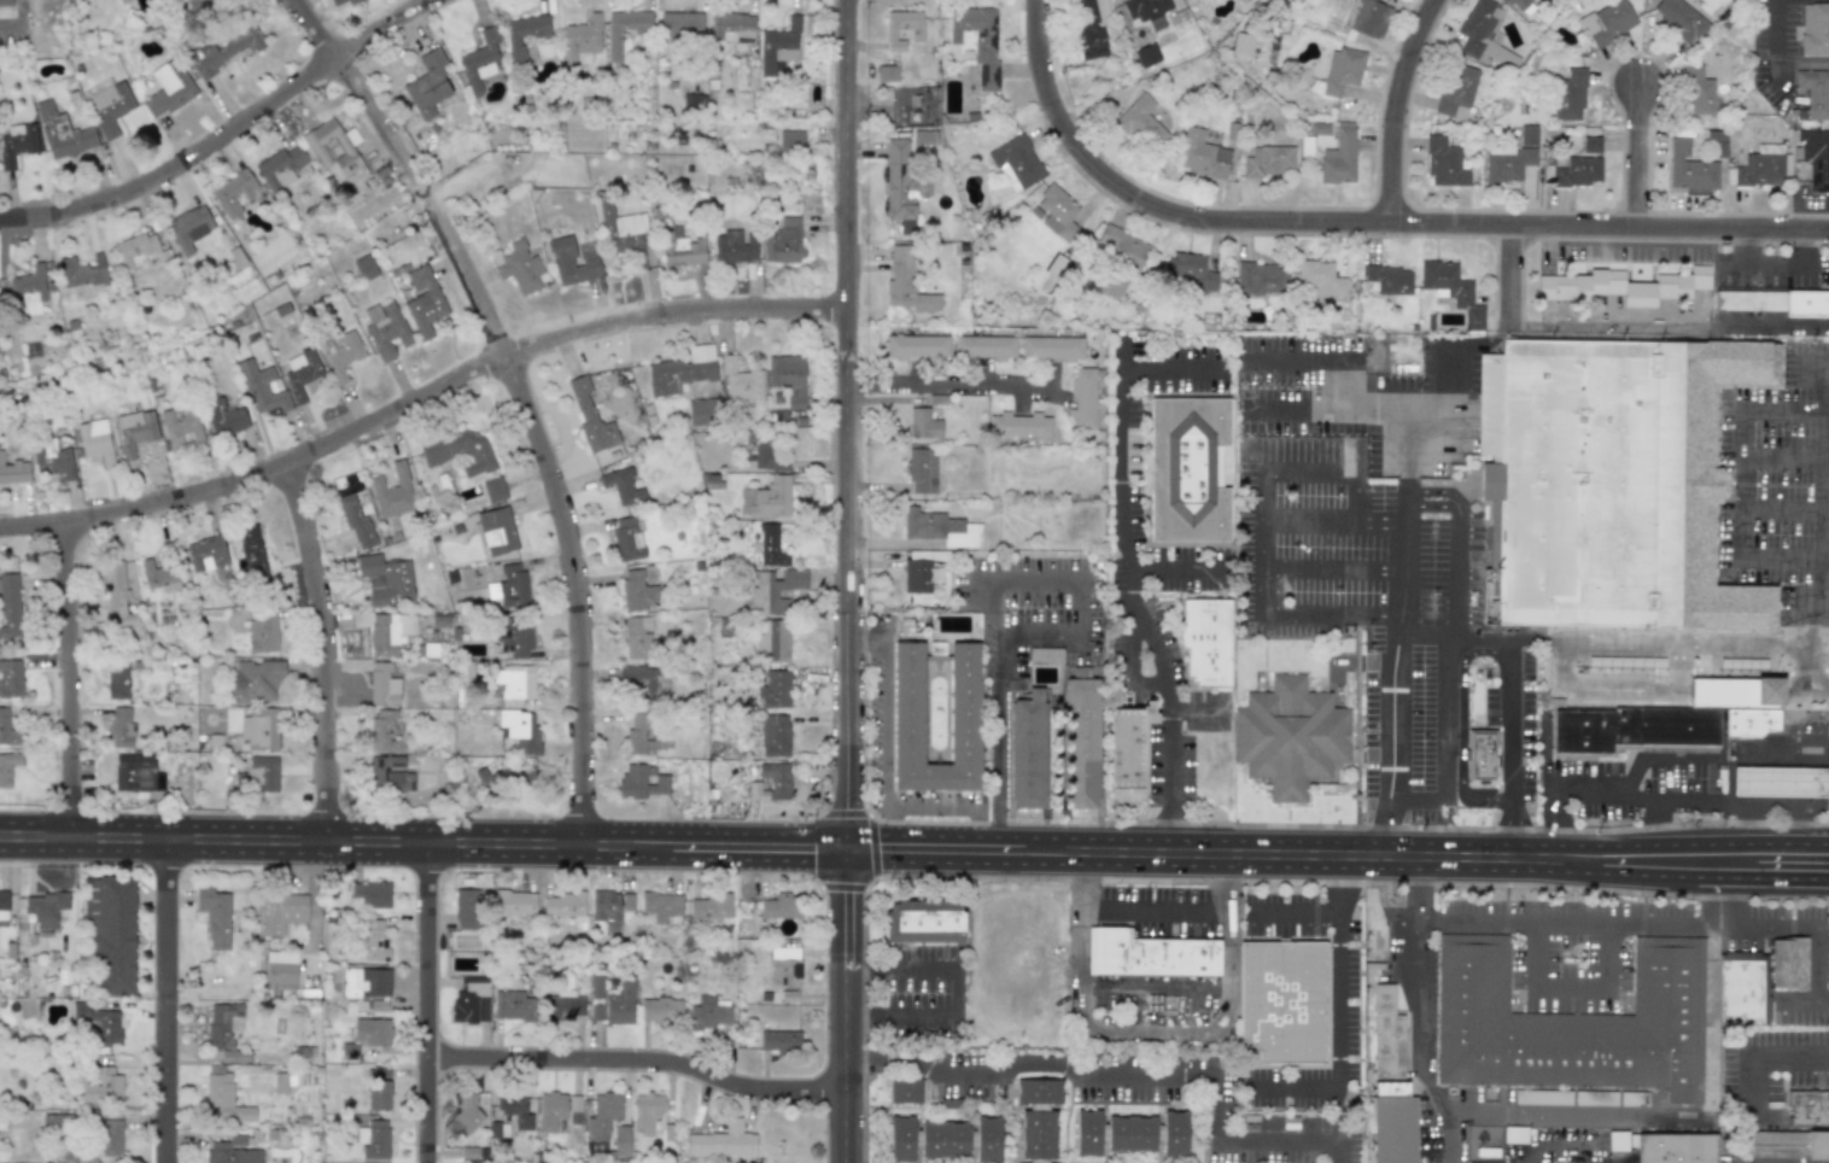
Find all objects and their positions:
building: (1503, 0)
building: (192, 1)
building: (340, 1)
building: (5, 2)
building: (1518, 4)
building: (1145, 7)
building: (1368, 18)
building: (1679, 18)
road: (308, 21)
building: (1606, 22)
road: (7, 23)
road: (1774, 24)
building: (680, 25)
building: (1089, 25)
building: (731, 27)
building: (900, 27)
building: (1815, 28)
building: (624, 30)
building: (1483, 33)
building: (524, 34)
building: (582, 39)
building: (977, 41)
building: (1243, 43)
building: (781, 46)
building: (224, 48)
road: (328, 51)
building: (1146, 54)
building: (480, 60)
building: (1340, 70)
building: (888, 74)
building: (428, 84)
building: (168, 89)
building: (1456, 90)
building: (1697, 90)
building: (1815, 92)
building: (1570, 94)
building: (111, 107)
road: (1395, 107)
building: (907, 109)
building: (1141, 123)
building: (63, 133)
road: (224, 134)
building: (1527, 134)
building: (791, 141)
building: (17, 144)
building: (1590, 144)
building: (333, 146)
building: (1202, 154)
building: (1816, 157)
building: (1338, 158)
road: (1646, 158)
building: (1269, 160)
building: (1443, 162)
building: (1507, 162)
building: (280, 168)
building: (1689, 168)
building: (1577, 171)
building: (899, 179)
building: (922, 187)
building: (234, 193)
building: (1057, 212)
road: (1362, 222)
building: (189, 228)
building: (624, 233)
road: (1636, 240)
building: (784, 241)
building: (1120, 246)
building: (734, 247)
building: (682, 249)
building: (136, 250)
road: (1615, 256)
building: (571, 263)
building: (519, 267)
building: (364, 268)
building: (1188, 270)
building: (82, 271)
road: (1514, 274)
building: (1321, 277)
building: (1262, 279)
building: (1389, 279)
building: (906, 282)
road: (1774, 284)
building: (1115, 285)
building: (1579, 285)
building: (1665, 286)
building: (29, 290)
building: (1451, 290)
building: (425, 302)
building: (1774, 302)
road: (1771, 323)
road: (1605, 327)
building: (386, 331)
building: (916, 346)
building: (984, 347)
building: (1052, 347)
building: (341, 353)
road: (1313, 356)
building: (682, 370)
road: (1174, 373)
building: (300, 374)
building: (789, 382)
road: (952, 384)
building: (741, 385)
building: (262, 388)
building: (1083, 397)
road: (1450, 405)
road: (1328, 409)
building: (700, 411)
road: (420, 415)
building: (224, 417)
building: (591, 417)
road: (845, 417)
building: (923, 423)
building: (1019, 425)
building: (181, 426)
road: (534, 428)
building: (135, 431)
building: (95, 440)
building: (463, 452)
road: (1781, 452)
building: (52, 460)
building: (1188, 469)
building: (13, 472)
building: (921, 472)
building: (1619, 480)
building: (623, 486)
parking lot: (1780, 486)
building: (493, 490)
road: (1437, 490)
building: (392, 492)
building: (769, 498)
road: (1407, 504)
road: (1428, 505)
road: (1781, 508)
road: (1333, 519)
building: (356, 521)
building: (940, 528)
road: (1127, 528)
building: (497, 531)
building: (626, 538)
road: (1260, 540)
building: (771, 547)
road: (1824, 547)
building: (206, 553)
building: (251, 555)
road: (1824, 567)
road: (1175, 569)
road: (1332, 569)
building: (916, 573)
building: (159, 575)
road: (1816, 578)
building: (386, 580)
road: (989, 581)
building: (509, 586)
building: (775, 589)
building: (637, 591)
parking lot: (1360, 592)
building: (116, 595)
road: (1454, 606)
building: (10, 607)
building: (262, 630)
building: (386, 631)
building: (514, 637)
building: (637, 637)
road: (1425, 638)
building: (1205, 639)
building: (771, 641)
road: (1147, 642)
road: (335, 654)
road: (1810, 670)
building: (11, 678)
building: (117, 679)
building: (255, 680)
building: (643, 682)
road: (78, 683)
building: (514, 684)
building: (382, 685)
road: (1390, 686)
building: (775, 690)
road: (888, 692)
building: (907, 703)
parking lot: (1518, 719)
building: (1751, 720)
road: (1356, 725)
building: (119, 727)
road: (1461, 727)
road: (1510, 727)
building: (1631, 727)
building: (261, 729)
building: (7, 730)
building: (521, 730)
building: (384, 731)
building: (647, 735)
building: (775, 735)
building: (1290, 736)
building: (1080, 742)
building: (1129, 747)
road: (1444, 748)
building: (1027, 749)
road: (1167, 754)
building: (1480, 755)
road: (1498, 756)
road: (1732, 762)
building: (7, 767)
building: (136, 773)
building: (263, 775)
building: (390, 775)
building: (1778, 781)
building: (642, 782)
building: (771, 783)
parking lot: (1621, 785)
road: (934, 800)
road: (1560, 802)
road: (1782, 805)
road: (1502, 807)
road: (888, 818)
road: (1654, 822)
road: (1250, 824)
road: (1513, 830)
road: (1545, 830)
road: (715, 832)
road: (866, 836)
road: (983, 836)
road: (293, 840)
road: (1713, 842)
road: (845, 847)
road: (1339, 853)
road: (715, 857)
road: (962, 860)
road: (1654, 877)
road: (1732, 877)
road: (1792, 878)
building: (369, 895)
building: (4, 900)
building: (514, 901)
building: (563, 904)
building: (660, 905)
building: (609, 906)
building: (711, 906)
building: (781, 906)
road: (1152, 907)
building: (464, 908)
road: (843, 908)
building: (39, 910)
parking lot: (1158, 911)
road: (1295, 911)
building: (280, 912)
building: (215, 916)
building: (923, 921)
road: (1588, 921)
road: (1819, 921)
building: (111, 931)
building: (374, 940)
building: (1149, 954)
building: (1787, 963)
building: (784, 966)
building: (280, 970)
building: (596, 986)
building: (367, 987)
building: (1742, 988)
road: (949, 989)
road: (162, 1000)
building: (469, 1000)
building: (1284, 1001)
road: (1572, 1001)
road: (427, 1003)
building: (615, 1004)
building: (513, 1005)
building: (562, 1005)
building: (660, 1009)
road: (1422, 1011)
building: (707, 1013)
road: (1343, 1021)
building: (98, 1023)
building: (223, 1023)
building: (1570, 1023)
road: (1151, 1027)
building: (372, 1030)
building: (778, 1040)
road: (1749, 1053)
road: (636, 1060)
road: (842, 1060)
road: (1132, 1073)
building: (281, 1082)
building: (1390, 1083)
building: (101, 1086)
building: (905, 1089)
building: (378, 1094)
building: (222, 1097)
building: (1807, 1106)
building: (514, 1109)
building: (574, 1109)
building: (550, 1110)
building: (645, 1110)
building: (466, 1111)
road: (1578, 1112)
building: (602, 1115)
building: (1038, 1117)
building: (1129, 1132)
building: (109, 1136)
building: (943, 1138)
road: (1561, 1138)
building: (373, 1139)
building: (620, 1140)
building: (721, 1141)
building: (1792, 1142)
building: (1675, 1147)
building: (232, 1151)
building: (1490, 1162)

